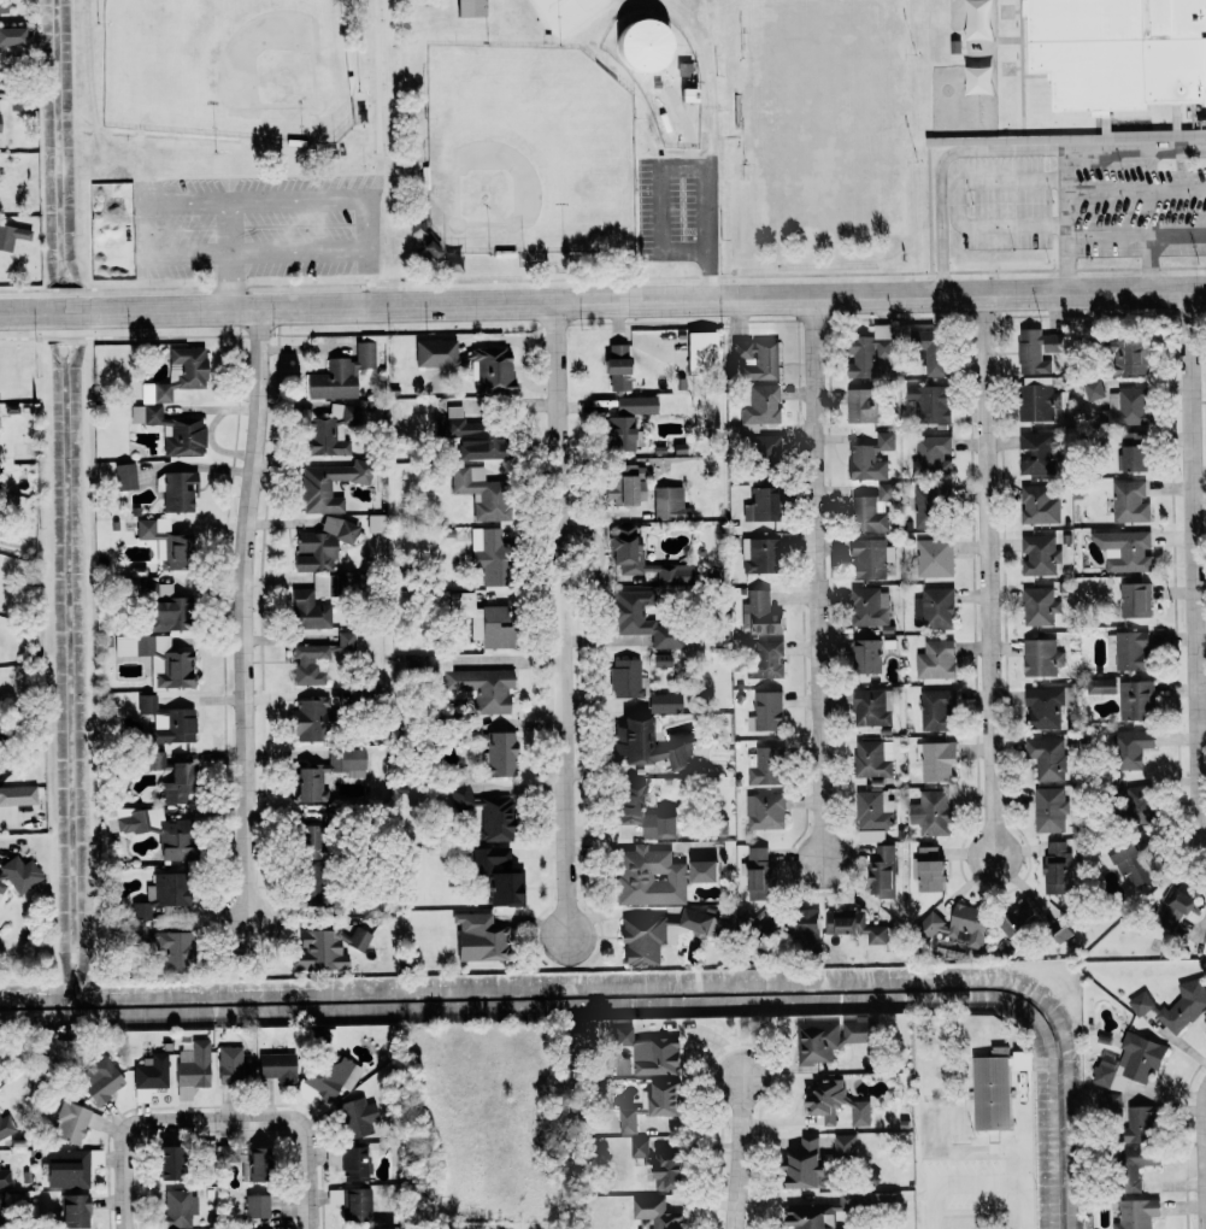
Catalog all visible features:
building: (2, 6)
building: (469, 7)
building: (11, 36)
building: (641, 47)
building: (1118, 52)
park: (241, 67)
park: (825, 116)
park: (531, 125)
road: (1135, 148)
park: (526, 151)
road: (941, 165)
road: (351, 174)
road: (1134, 188)
road: (237, 196)
road: (186, 198)
road: (705, 204)
road: (954, 206)
road: (1063, 220)
road: (1135, 236)
building: (11, 237)
building: (429, 251)
road: (251, 260)
road: (1147, 264)
road: (602, 302)
building: (926, 349)
building: (1037, 351)
building: (869, 352)
building: (434, 353)
building: (700, 353)
building: (1126, 357)
building: (755, 359)
building: (617, 367)
building: (492, 370)
building: (340, 375)
building: (1092, 389)
building: (154, 395)
building: (1037, 400)
building: (929, 404)
building: (860, 406)
building: (759, 407)
building: (1126, 407)
building: (619, 434)
building: (470, 435)
building: (325, 437)
building: (763, 449)
building: (1131, 452)
building: (931, 454)
building: (1042, 454)
building: (869, 459)
building: (124, 477)
building: (328, 486)
building: (626, 487)
building: (177, 492)
building: (480, 493)
building: (882, 494)
building: (1129, 501)
building: (667, 504)
building: (760, 506)
building: (928, 506)
building: (1037, 506)
building: (865, 514)
building: (375, 524)
building: (623, 545)
building: (320, 546)
road: (1196, 549)
building: (1125, 552)
building: (490, 555)
building: (759, 555)
building: (1037, 555)
building: (869, 558)
building: (933, 558)
road: (989, 575)
road: (818, 582)
building: (1134, 600)
building: (866, 606)
building: (1037, 606)
building: (160, 607)
building: (934, 607)
road: (243, 611)
building: (307, 611)
building: (759, 614)
building: (640, 618)
road: (561, 619)
building: (483, 621)
building: (345, 640)
building: (1135, 649)
building: (866, 655)
building: (1040, 657)
building: (158, 658)
building: (763, 659)
building: (935, 659)
building: (660, 660)
building: (307, 664)
building: (625, 678)
building: (466, 682)
building: (1100, 686)
building: (1134, 700)
building: (664, 704)
building: (870, 707)
building: (1042, 707)
building: (935, 710)
building: (765, 711)
building: (308, 719)
building: (166, 722)
building: (645, 746)
building: (1129, 747)
building: (498, 754)
building: (871, 758)
building: (1045, 758)
building: (154, 759)
building: (936, 760)
building: (761, 766)
building: (176, 784)
building: (1116, 784)
building: (308, 786)
building: (17, 795)
building: (1139, 801)
building: (763, 810)
building: (1048, 810)
building: (641, 812)
building: (872, 812)
building: (929, 812)
building: (484, 813)
building: (151, 829)
building: (307, 841)
building: (1130, 859)
building: (1055, 868)
building: (929, 869)
building: (702, 870)
building: (757, 871)
building: (881, 871)
building: (19, 874)
building: (647, 877)
building: (498, 880)
building: (0, 881)
building: (310, 882)
building: (160, 893)
building: (1176, 905)
building: (1019, 921)
building: (702, 923)
building: (958, 924)
building: (855, 925)
building: (802, 927)
building: (478, 937)
building: (358, 939)
building: (642, 940)
building: (161, 947)
building: (318, 951)
building: (1205, 982)
building: (1175, 1005)
building: (857, 1029)
building: (317, 1036)
building: (817, 1042)
building: (645, 1054)
building: (1129, 1063)
building: (231, 1066)
building: (275, 1066)
building: (190, 1069)
building: (148, 1076)
building: (326, 1077)
building: (99, 1081)
building: (994, 1086)
building: (663, 1098)
building: (835, 1102)
building: (1111, 1105)
building: (355, 1118)
building: (625, 1121)
building: (73, 1123)
building: (1137, 1125)
building: (5, 1127)
road: (307, 1130)
road: (124, 1133)
building: (637, 1147)
building: (843, 1147)
road: (1204, 1147)
road: (737, 1154)
building: (246, 1160)
building: (166, 1162)
building: (348, 1162)
building: (804, 1166)
building: (1133, 1166)
building: (70, 1168)
building: (666, 1171)
building: (4, 1178)
road: (978, 1181)
building: (881, 1198)
building: (357, 1202)
building: (255, 1206)
building: (177, 1209)
building: (73, 1211)
building: (653, 1213)
building: (1135, 1213)
building: (810, 1216)
building: (378, 1228)

